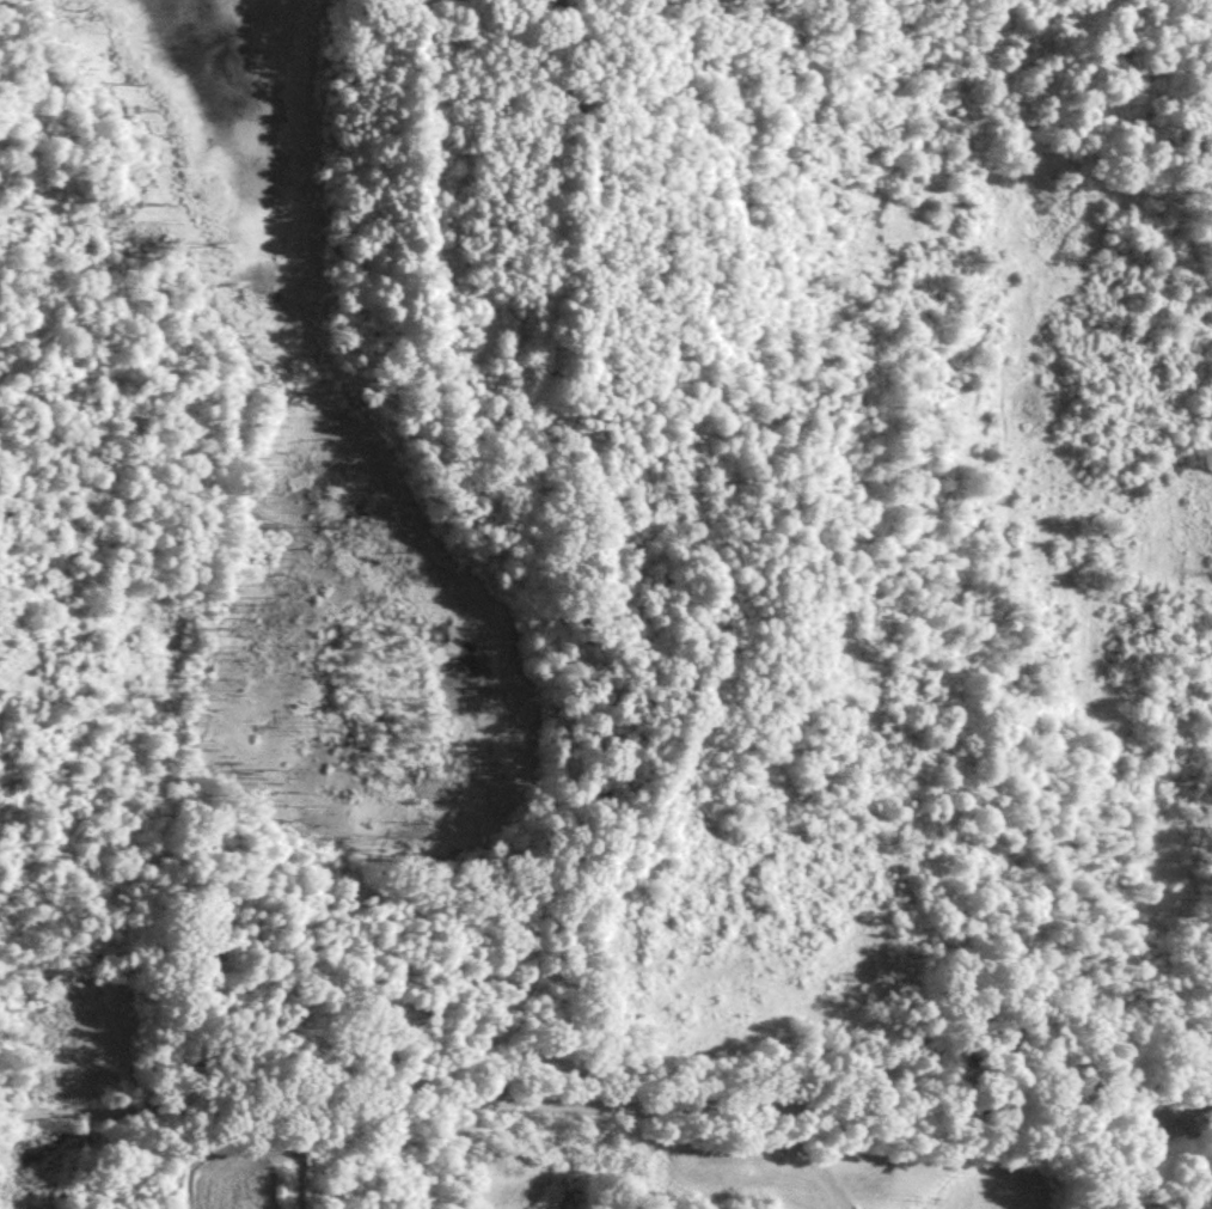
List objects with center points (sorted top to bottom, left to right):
road: (606, 1110)
road: (812, 1156)

